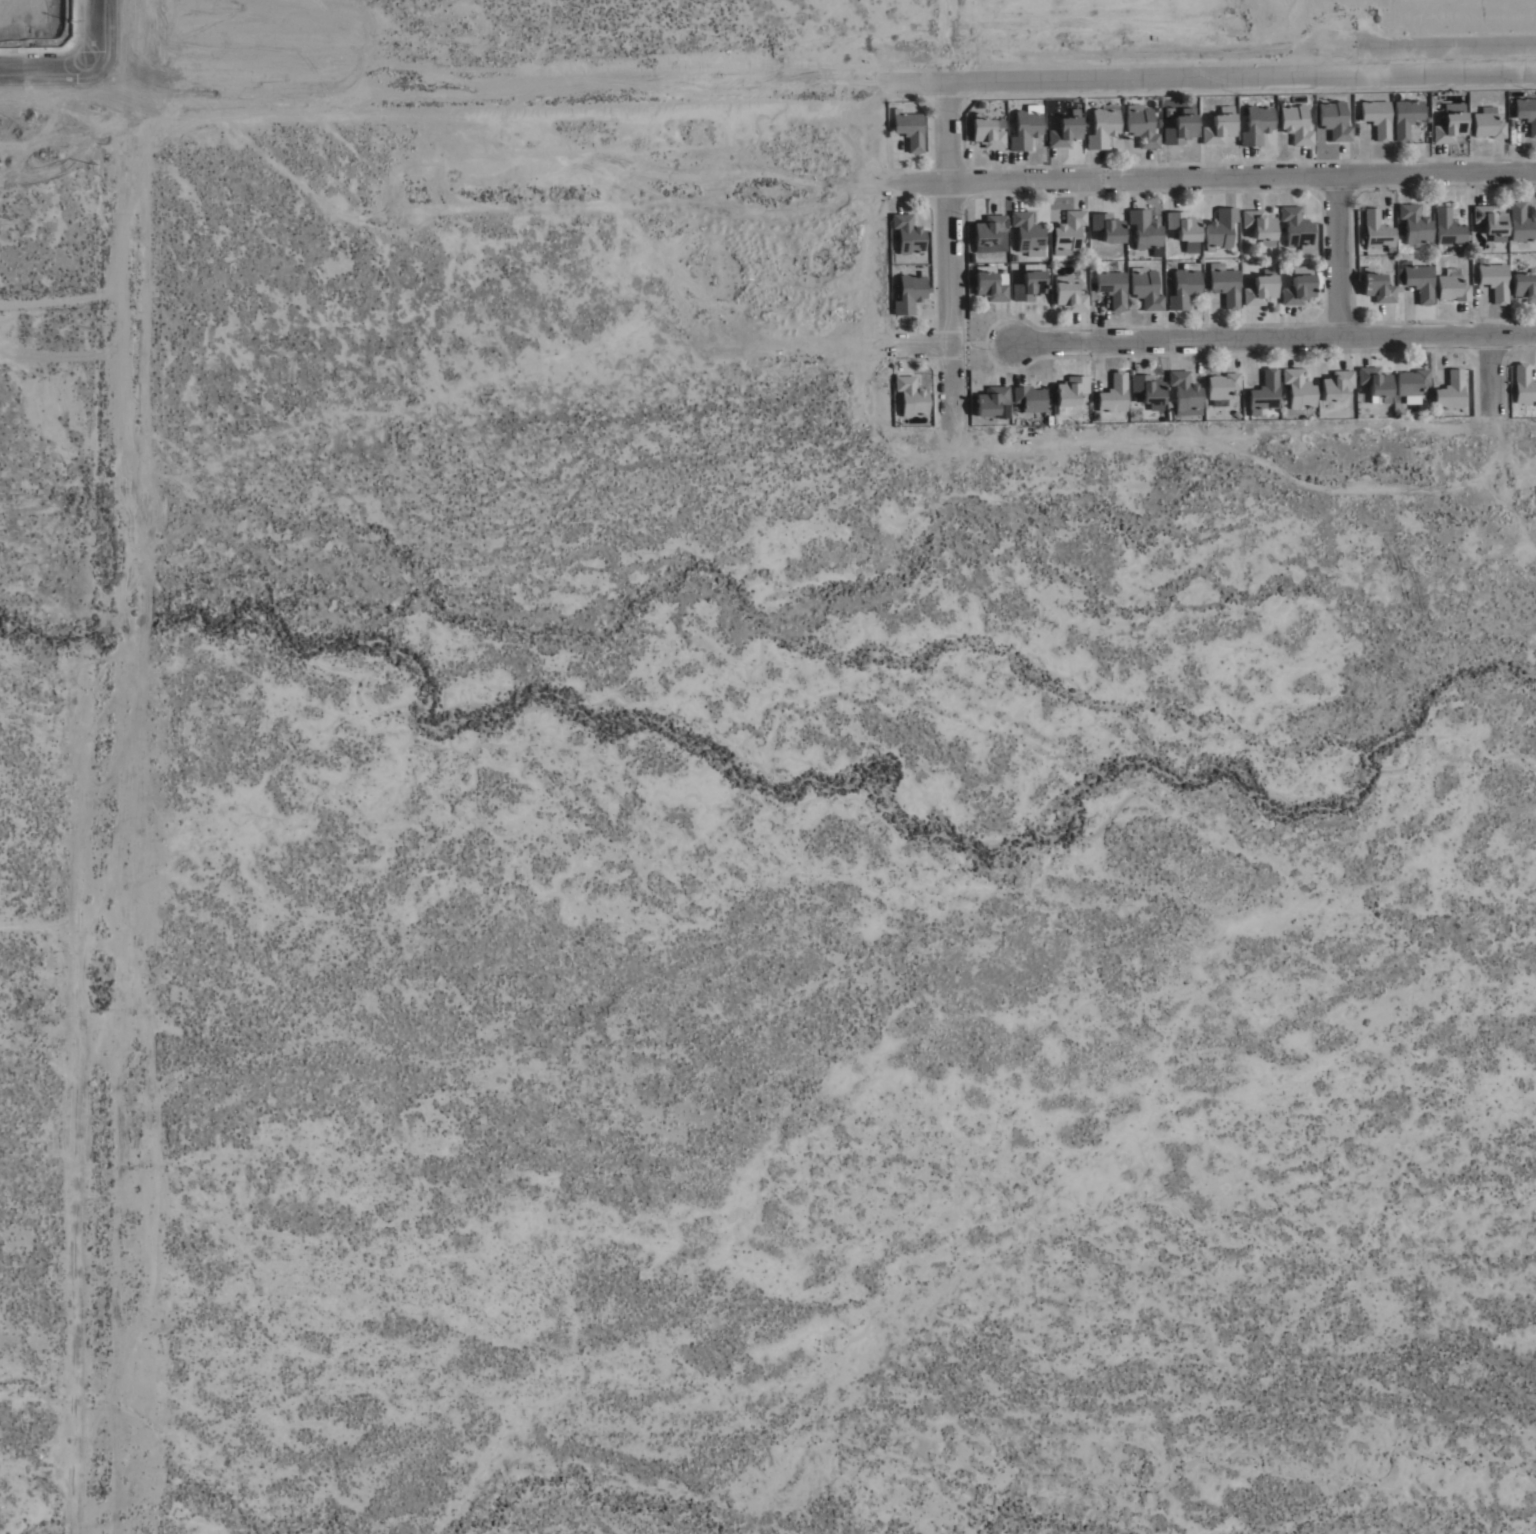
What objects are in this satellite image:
road: (101, 36)
road: (956, 46)
road: (50, 72)
road: (494, 83)
road: (1246, 87)
road: (922, 93)
building: (1530, 115)
building: (1407, 118)
building: (1416, 123)
building: (1387, 124)
building: (1343, 126)
building: (1359, 127)
building: (1305, 130)
building: (1497, 130)
building: (1151, 131)
building: (1266, 131)
building: (1111, 132)
building: (1229, 132)
building: (1035, 133)
building: (1459, 133)
building: (919, 135)
building: (1189, 136)
building: (997, 138)
building: (1073, 138)
road: (1213, 186)
building: (1500, 228)
building: (1527, 228)
building: (1424, 229)
building: (1070, 231)
building: (1116, 233)
building: (1269, 233)
building: (1305, 233)
building: (1154, 235)
building: (1229, 235)
building: (1457, 235)
building: (1193, 236)
building: (1385, 236)
building: (1036, 237)
building: (916, 239)
building: (997, 239)
building: (1078, 239)
building: (1011, 247)
building: (1166, 259)
building: (928, 261)
road: (959, 262)
building: (1021, 263)
road: (1349, 264)
building: (1503, 286)
building: (1428, 287)
building: (1235, 290)
building: (1528, 291)
building: (998, 292)
building: (1038, 292)
building: (1194, 292)
building: (1462, 292)
building: (1122, 293)
building: (1154, 294)
building: (1307, 294)
building: (1387, 294)
building: (1269, 296)
building: (918, 300)
building: (1078, 303)
road: (1278, 346)
road: (927, 352)
road: (1502, 383)
building: (1222, 386)
building: (1383, 388)
building: (1421, 388)
building: (1530, 390)
building: (1266, 391)
building: (1345, 391)
building: (1115, 394)
building: (1231, 394)
building: (1156, 395)
building: (1308, 395)
building: (1460, 397)
building: (1080, 398)
building: (1274, 400)
building: (1123, 401)
building: (1195, 401)
building: (920, 403)
building: (1038, 405)
building: (999, 406)
building: (1395, 406)
building: (1012, 418)
building: (1247, 422)
road: (113, 801)
road: (53, 918)

